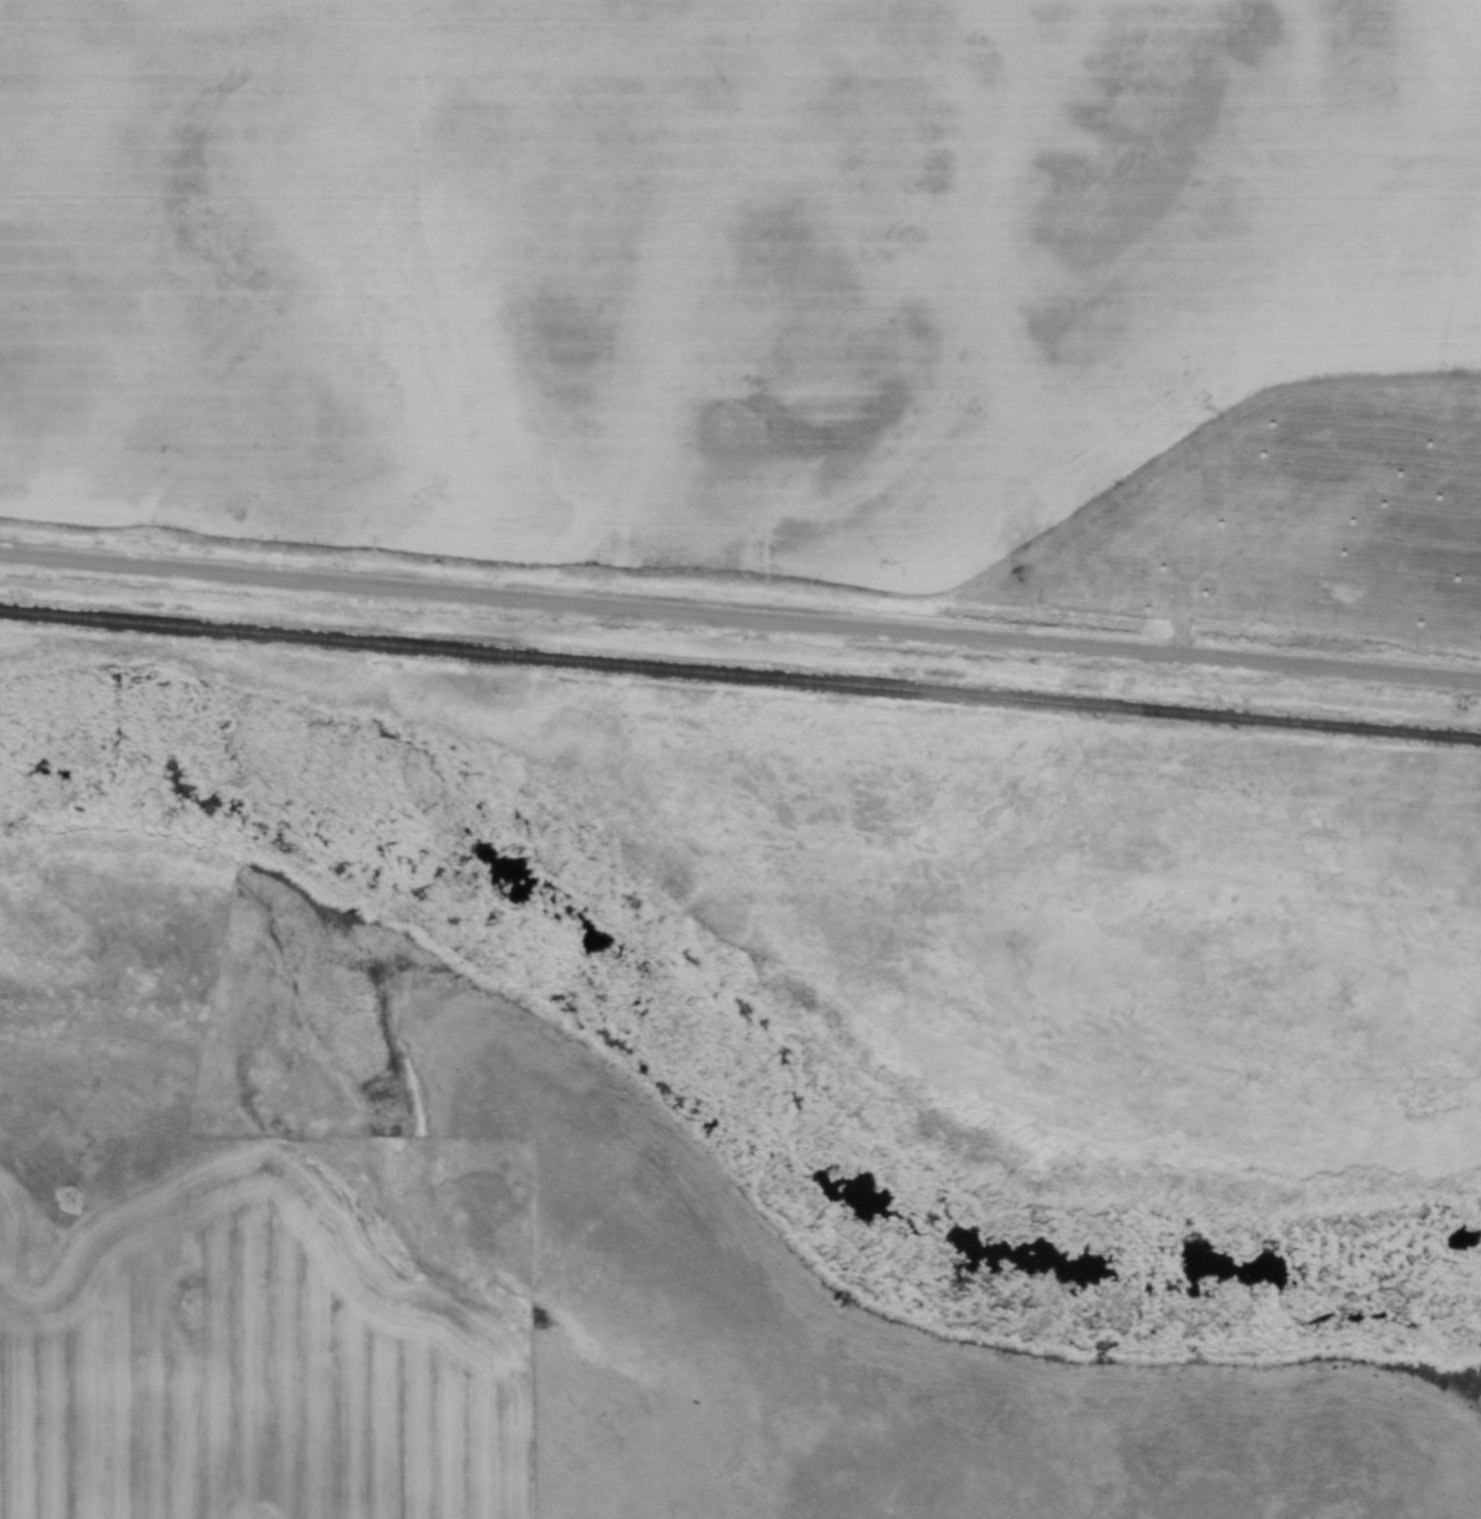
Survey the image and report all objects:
road: (739, 622)
railway: (740, 670)

